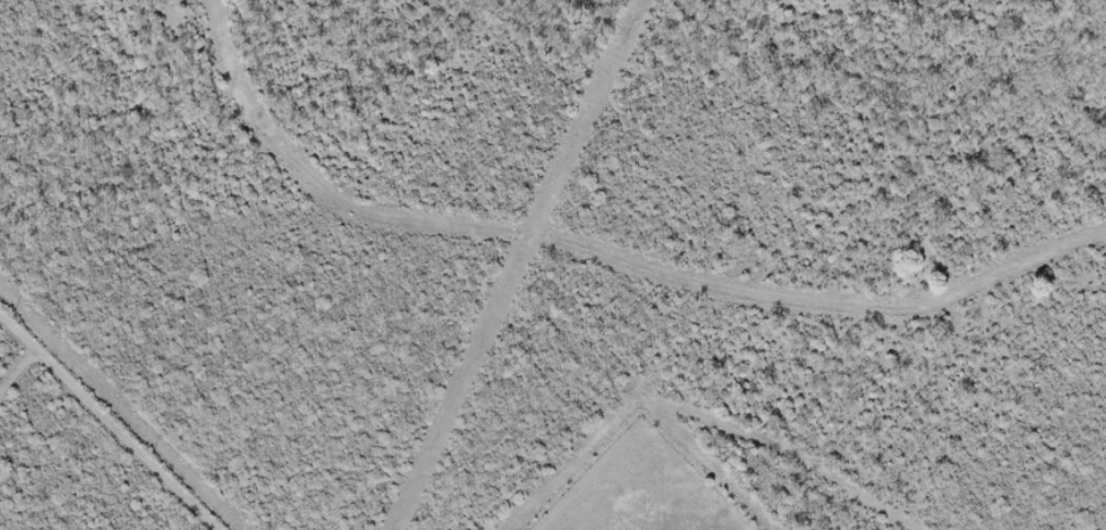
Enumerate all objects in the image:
road: (477, 268)
road: (584, 345)
road: (139, 392)
road: (97, 426)

